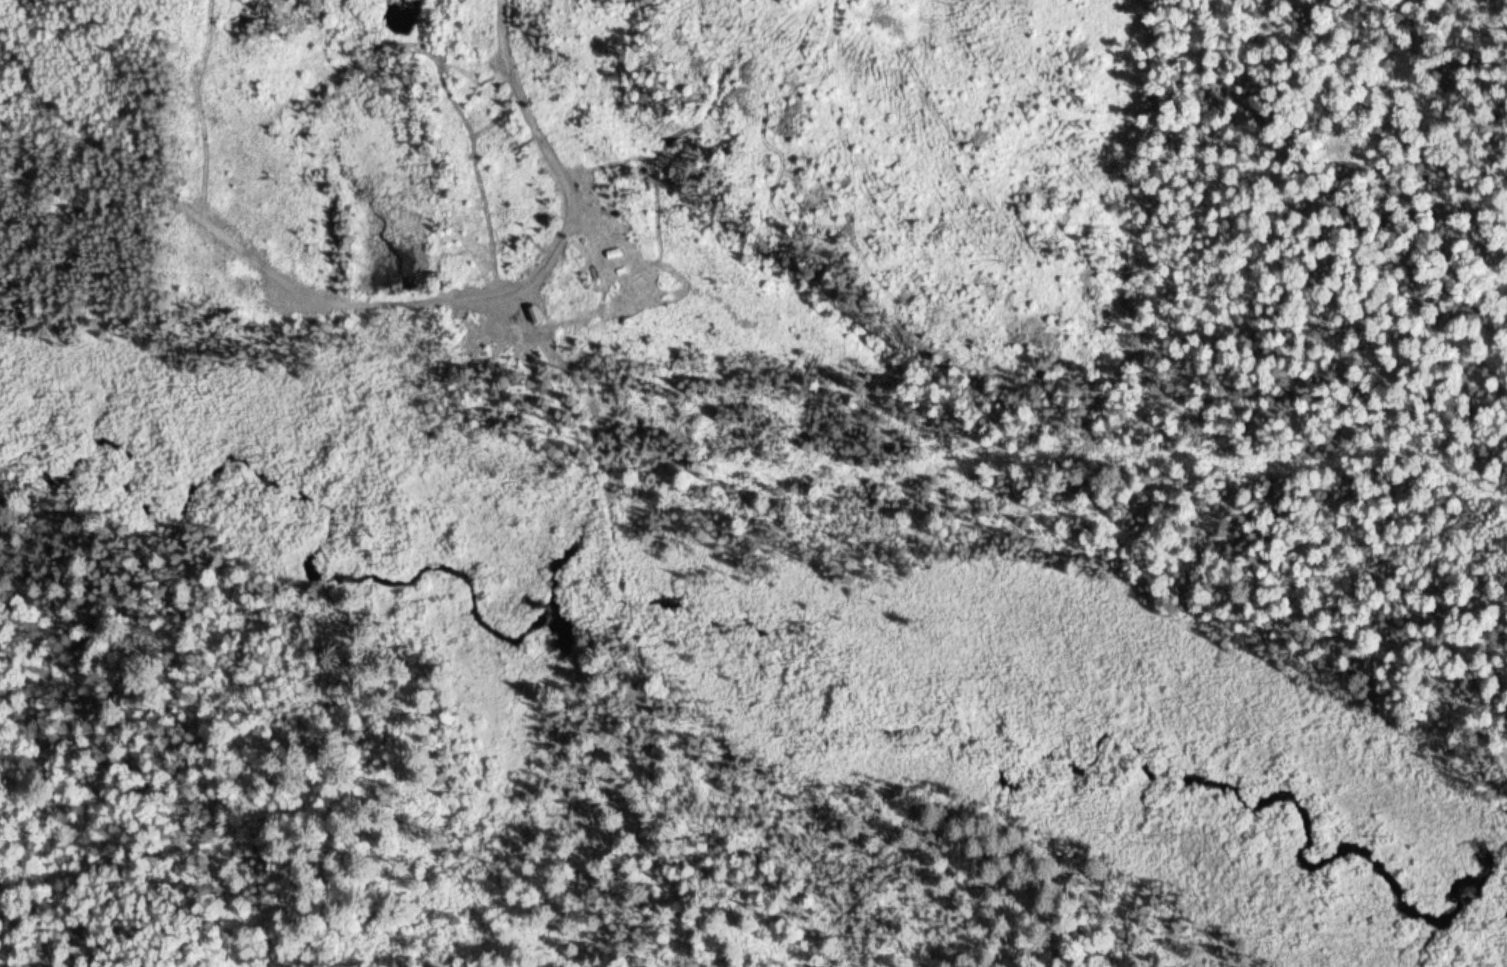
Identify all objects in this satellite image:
road: (533, 115)
road: (249, 255)

